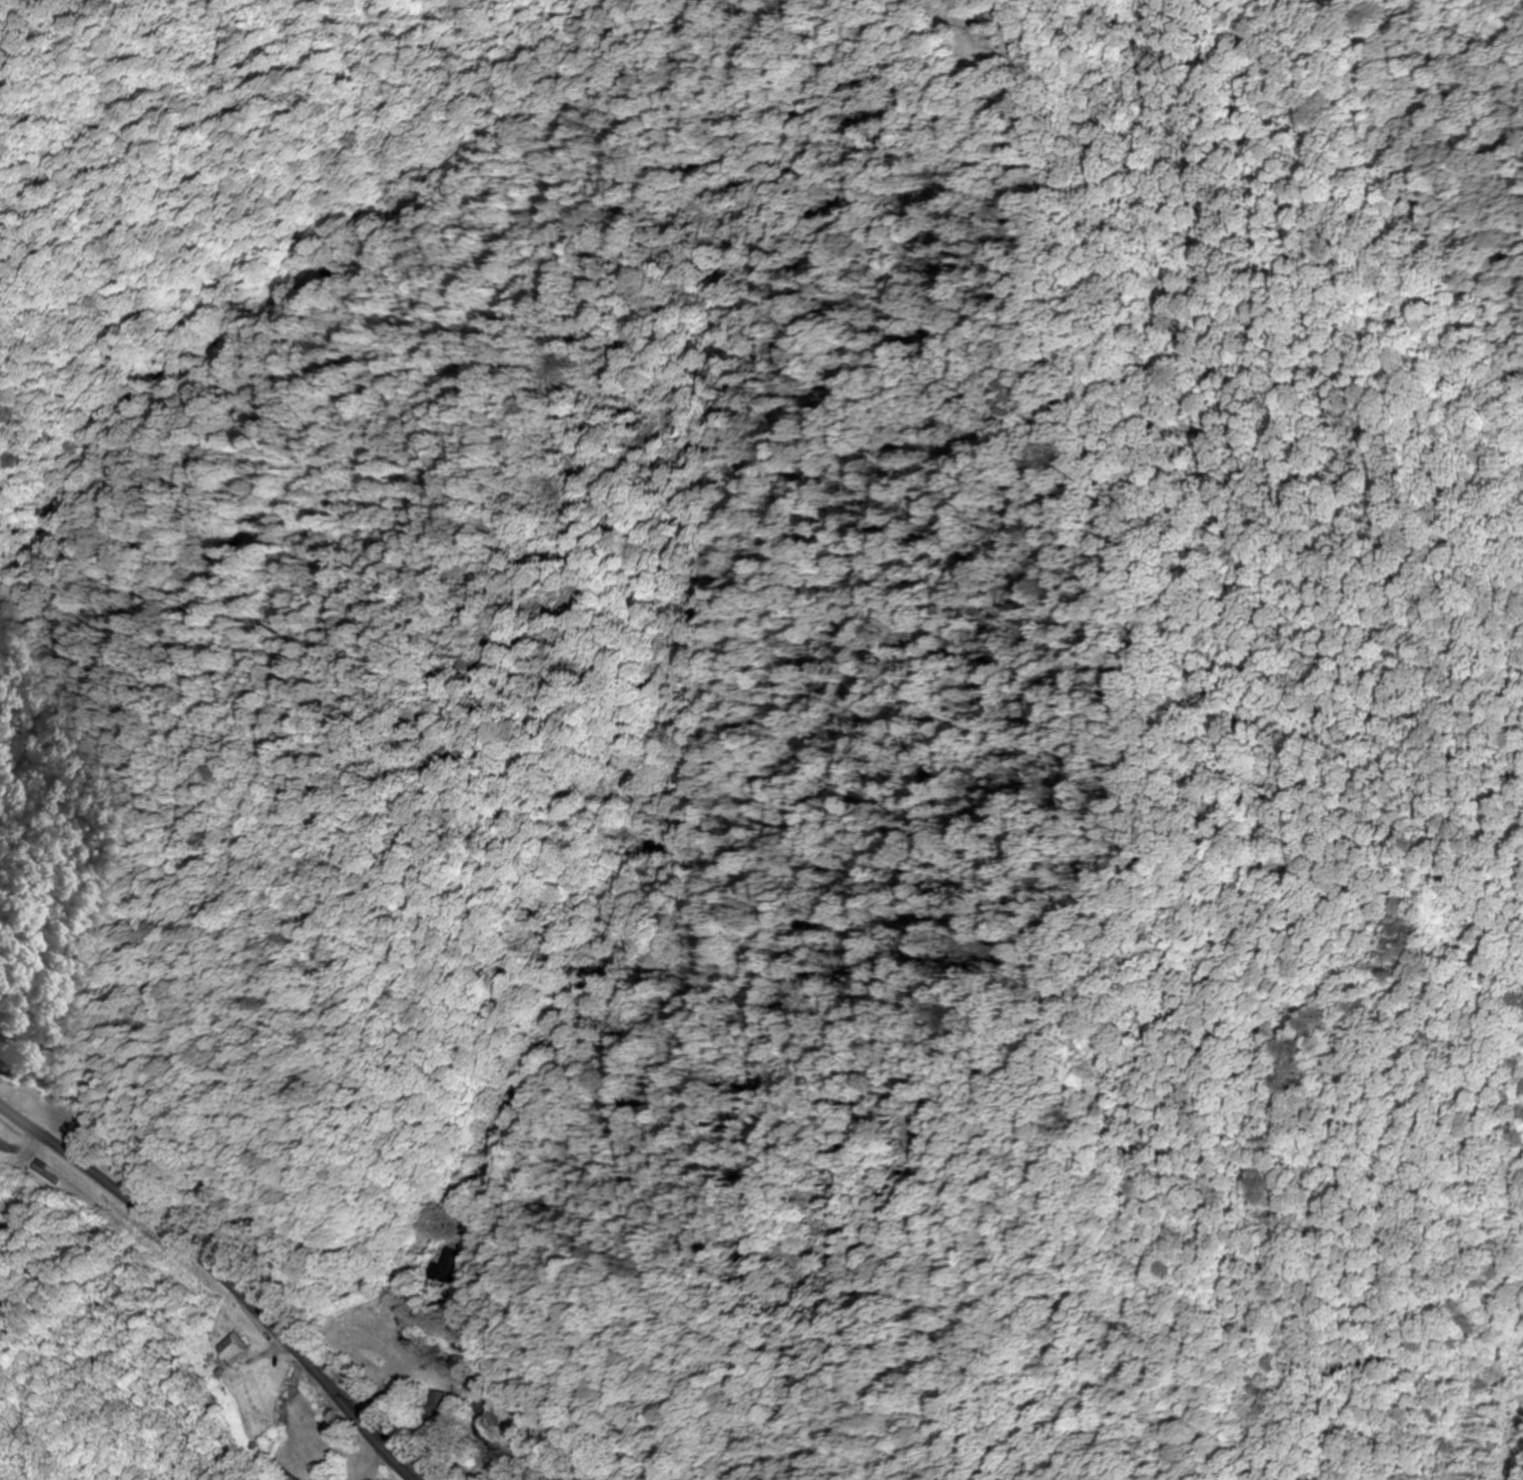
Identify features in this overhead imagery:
road: (632, 1103)
building: (8, 1146)
building: (40, 1170)
building: (451, 1265)
road: (219, 1277)
building: (232, 1349)
building: (437, 1406)

